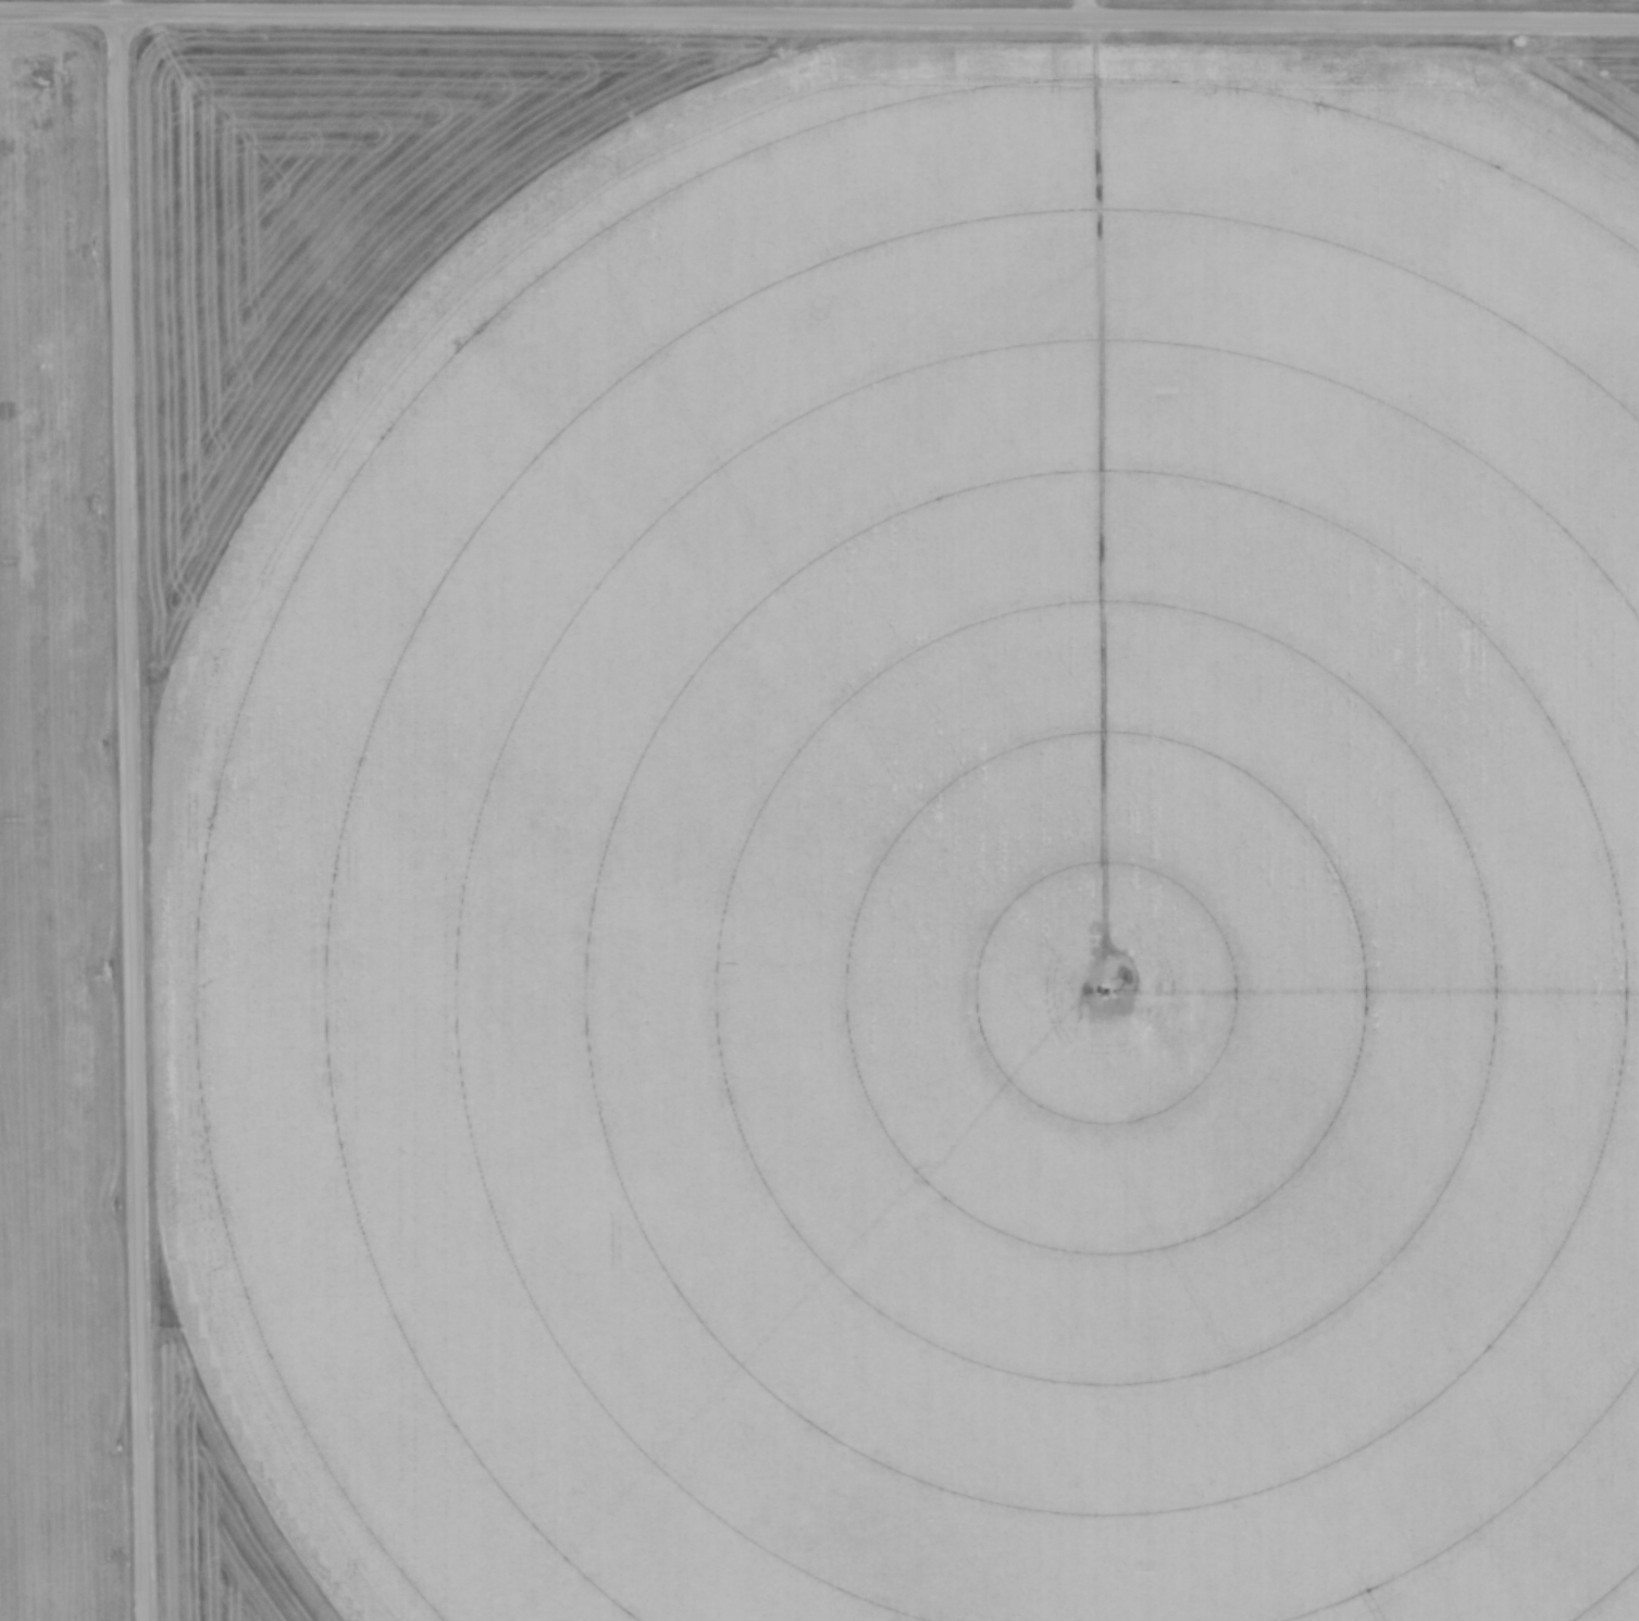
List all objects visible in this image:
road: (819, 22)
road: (133, 819)

